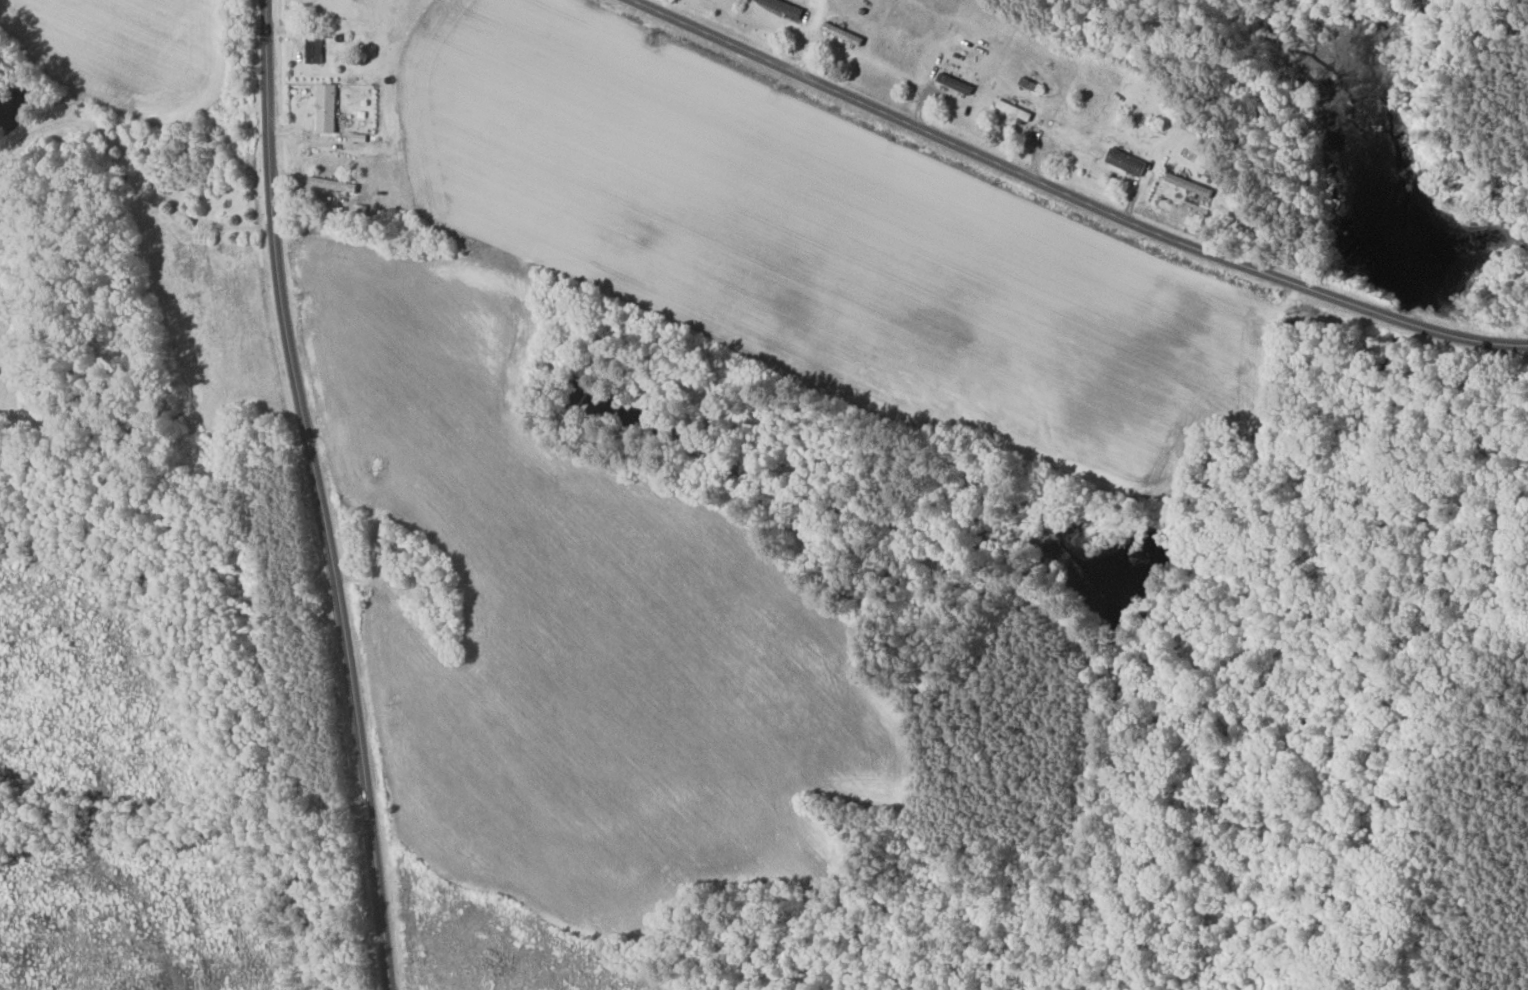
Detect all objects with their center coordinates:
building: (784, 8)
building: (845, 33)
building: (317, 50)
building: (954, 83)
building: (330, 108)
building: (1013, 110)
building: (1072, 136)
road: (337, 142)
road: (299, 155)
road: (135, 160)
building: (1125, 161)
building: (1187, 185)
road: (1072, 195)
road: (24, 359)
road: (319, 495)

